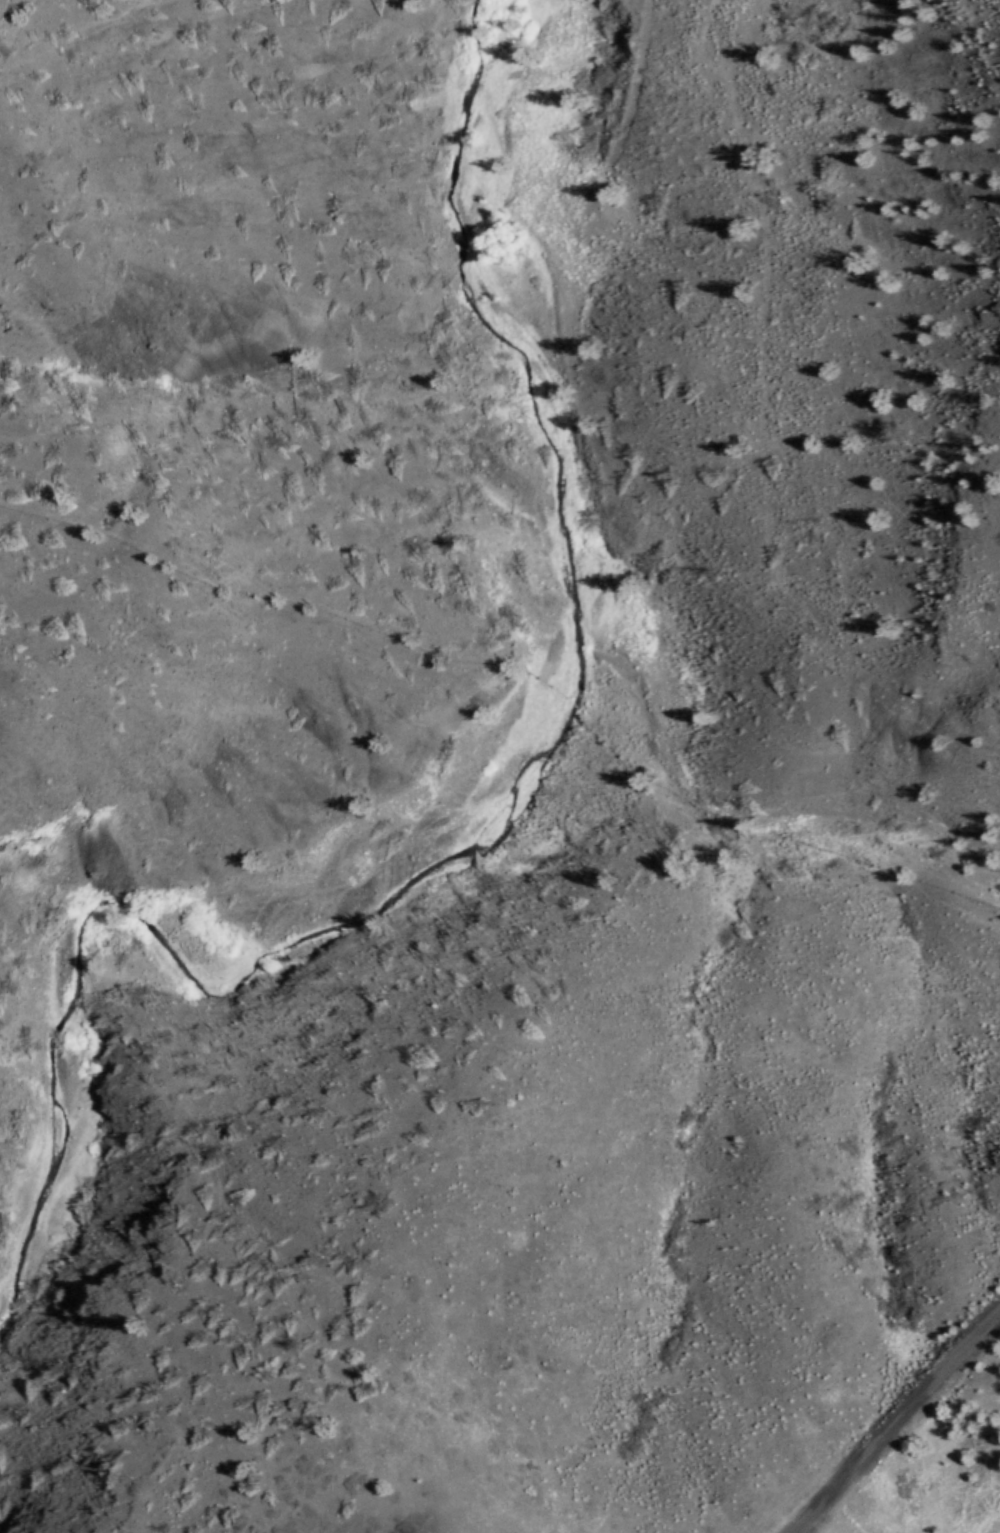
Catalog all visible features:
road: (857, 1400)

